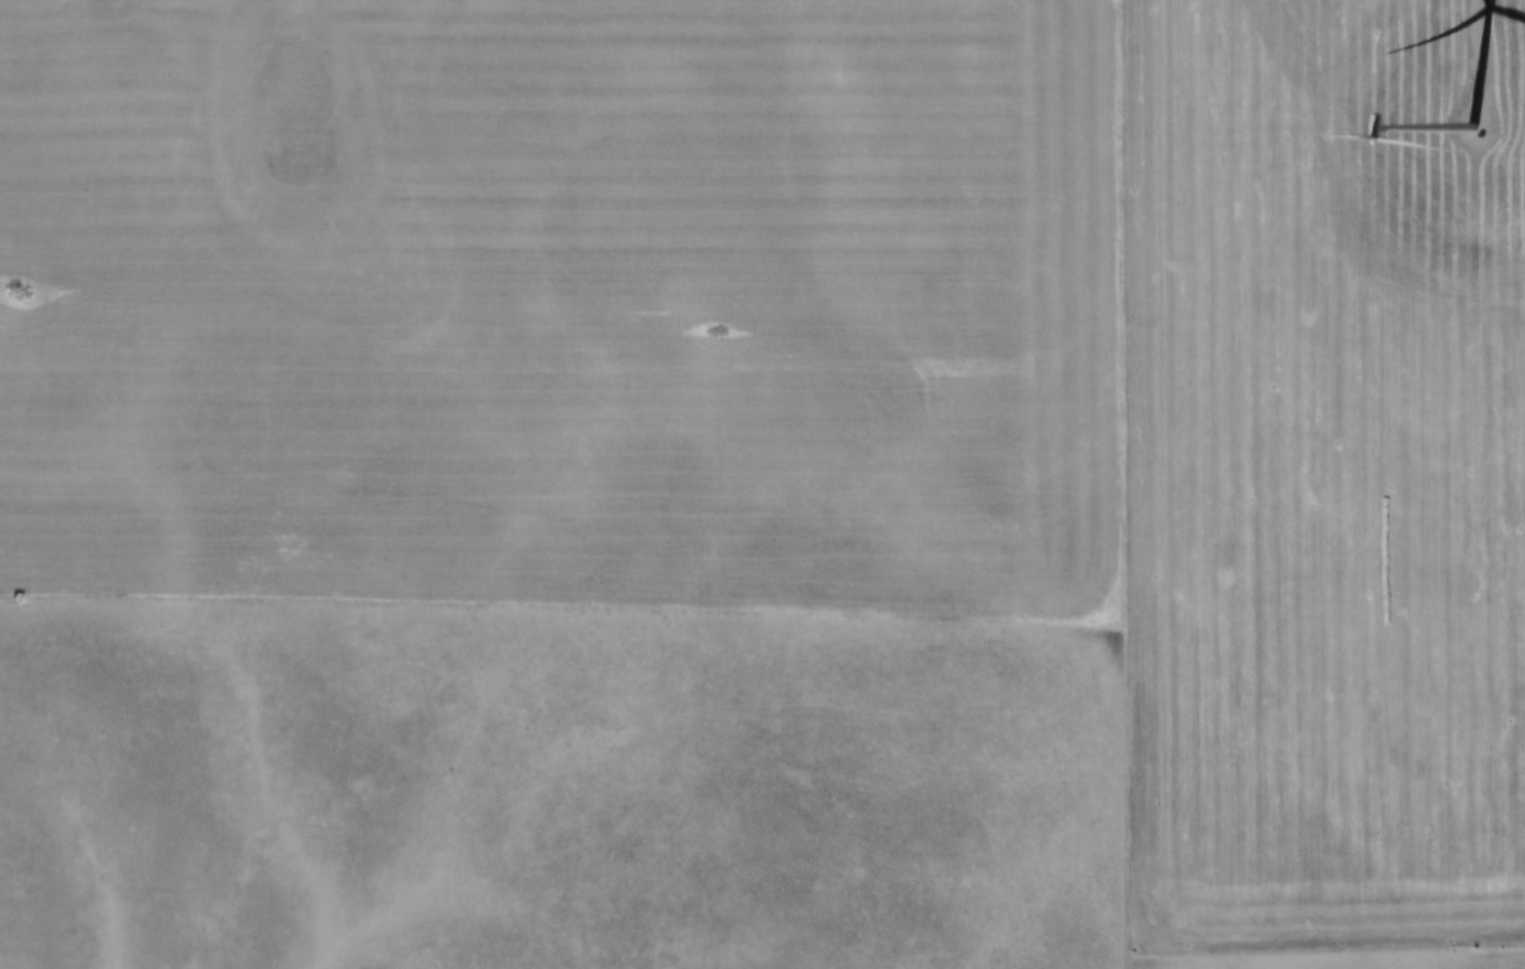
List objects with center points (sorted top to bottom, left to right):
wind turbine: (1475, 129)

